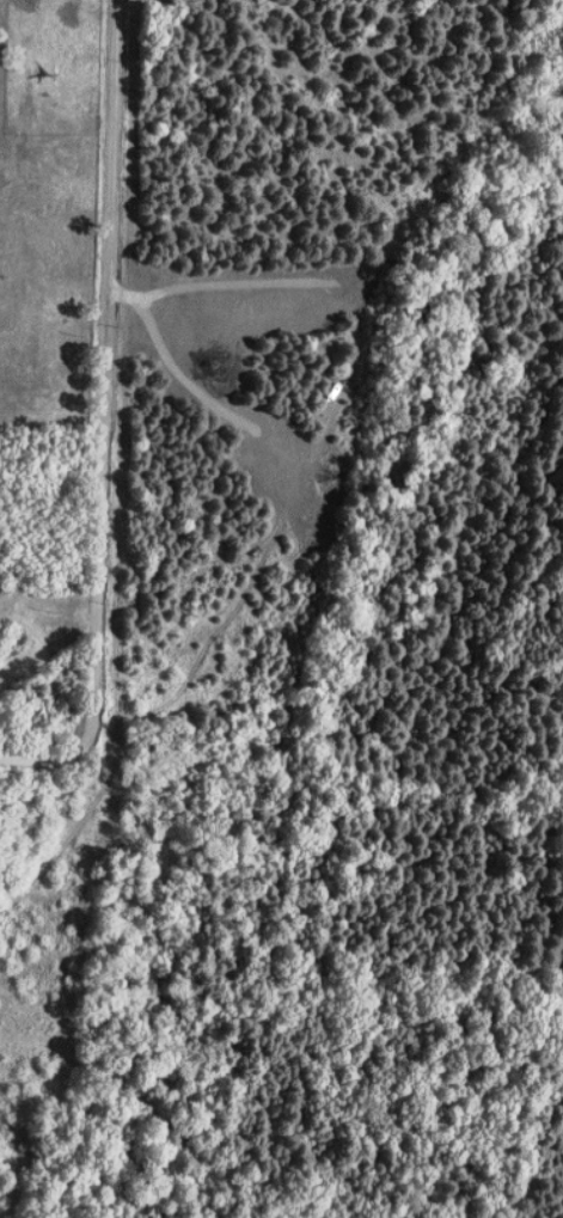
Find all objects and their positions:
road: (106, 421)

